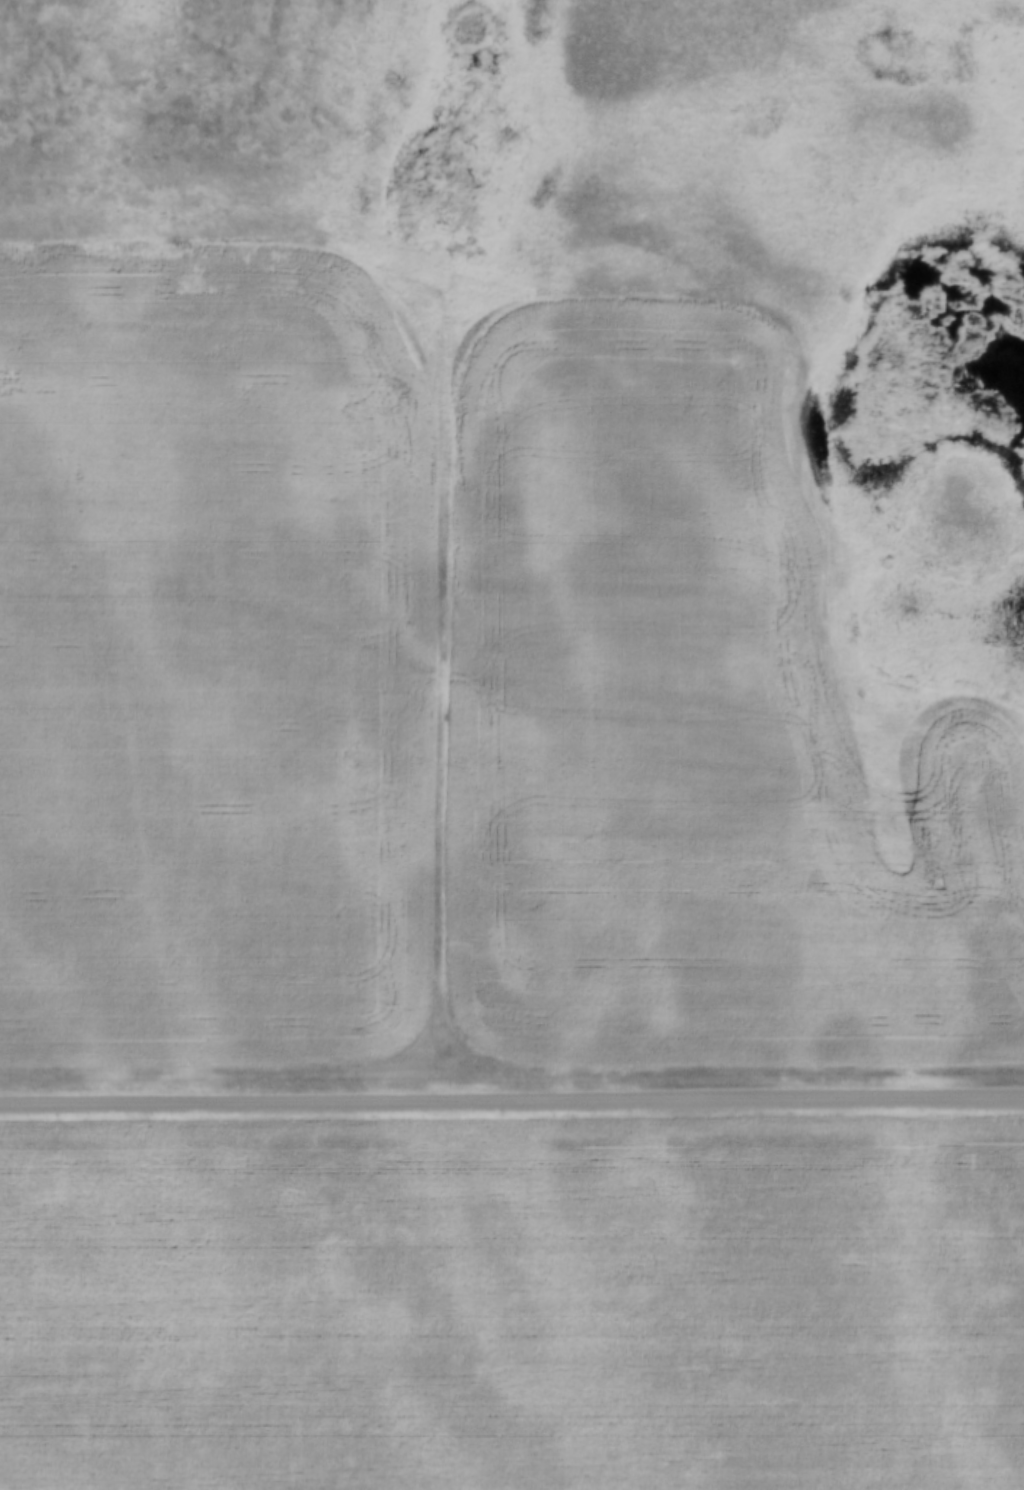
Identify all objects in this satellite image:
road: (512, 1105)

